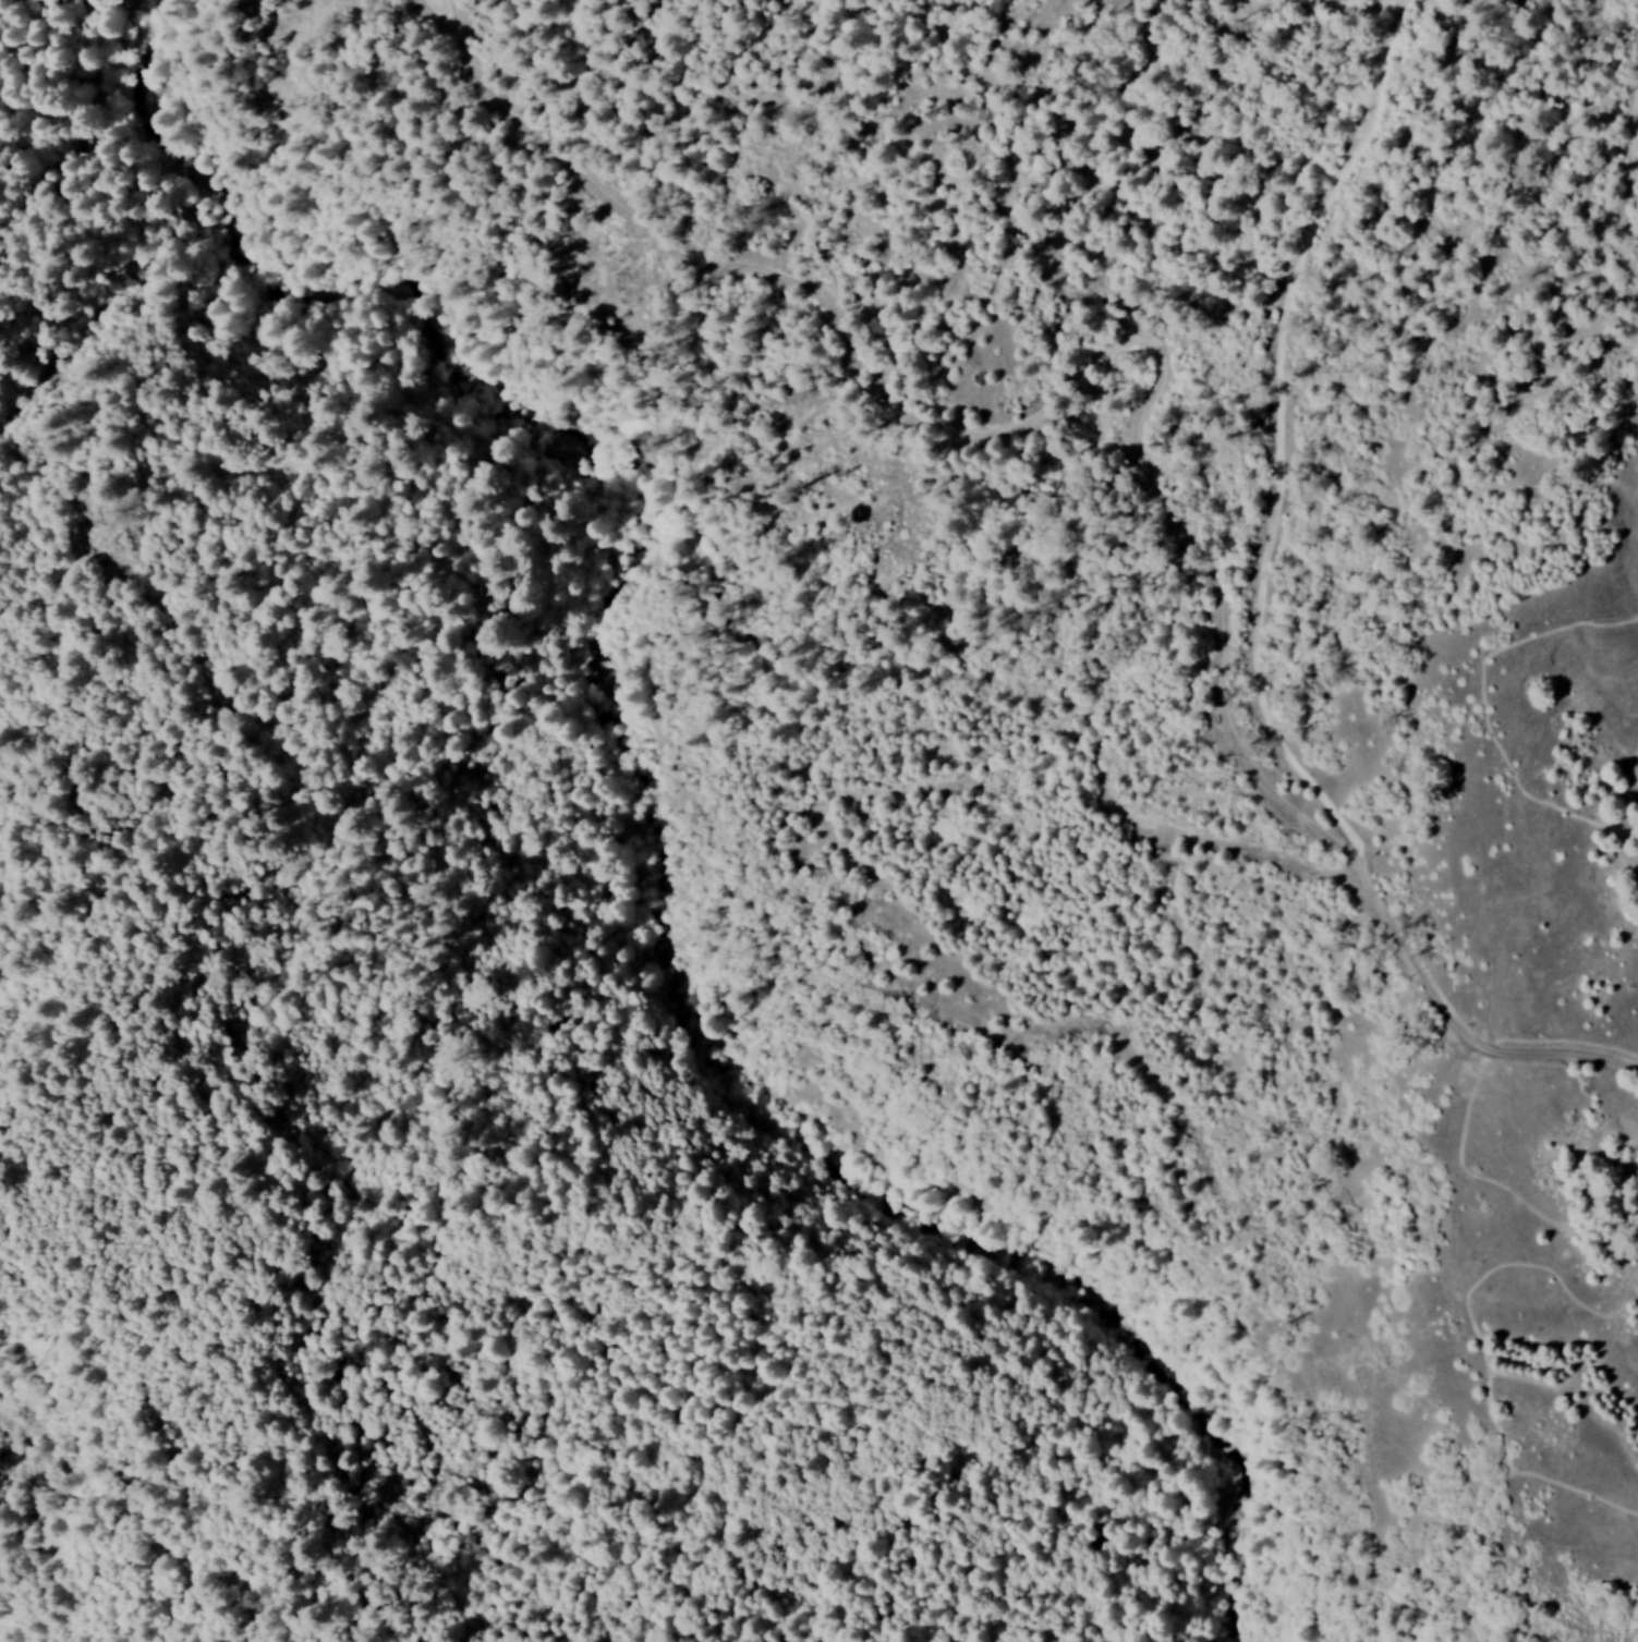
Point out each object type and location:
road: (1264, 619)

